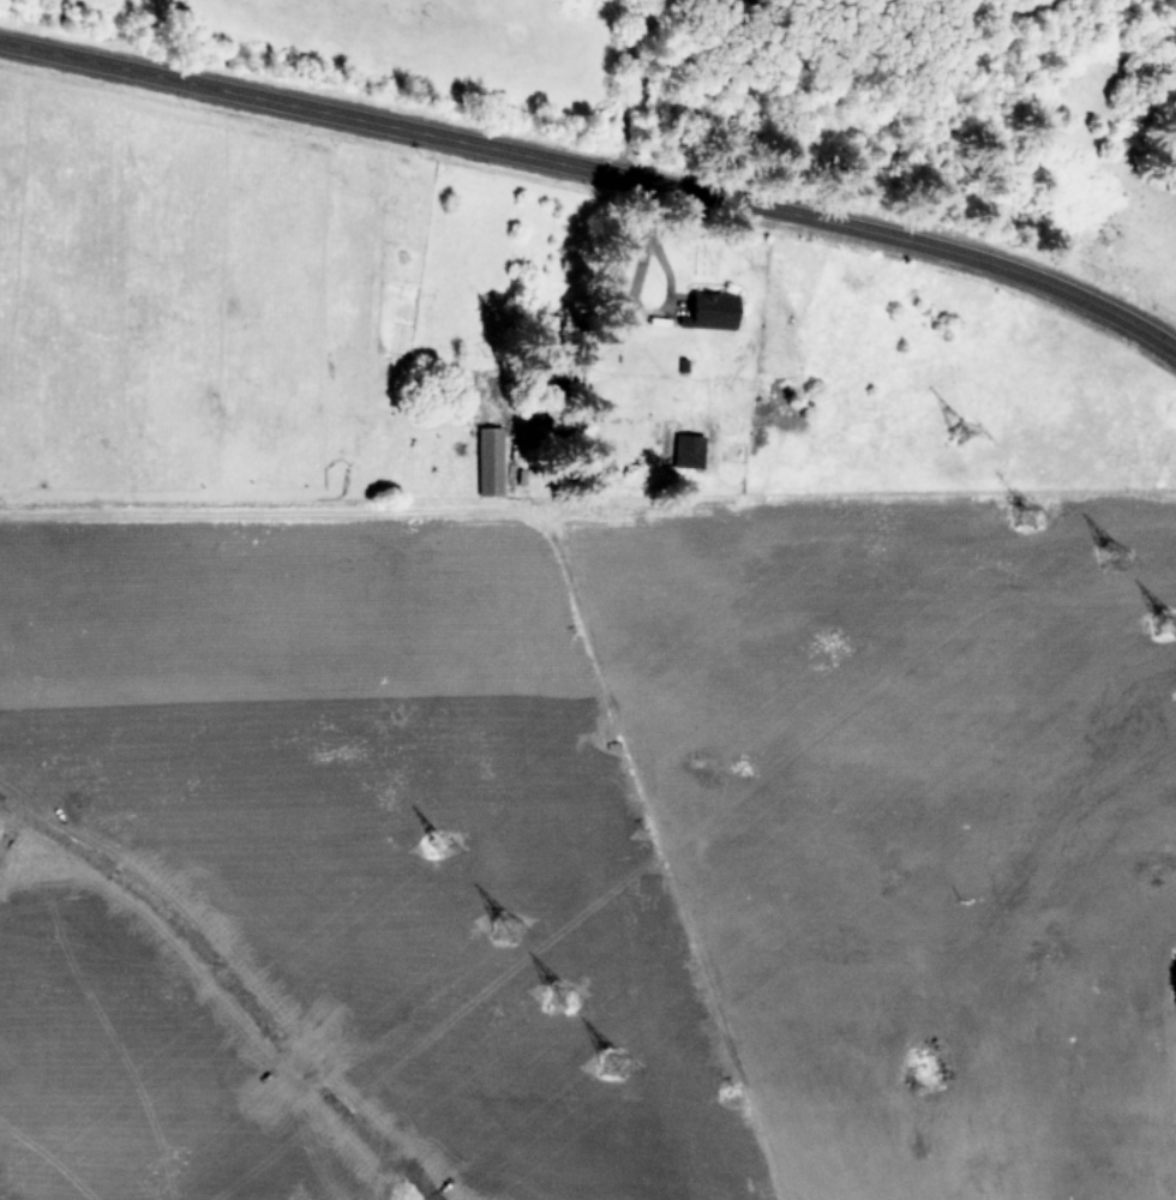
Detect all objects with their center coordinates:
road: (596, 175)
building: (718, 310)
power tower: (965, 424)
building: (488, 460)
power tower: (1032, 506)
power tower: (1116, 559)
power tower: (1169, 619)
crop: (553, 714)
power tower: (448, 848)
power tower: (509, 917)
power tower: (564, 986)
power tower: (613, 1056)

